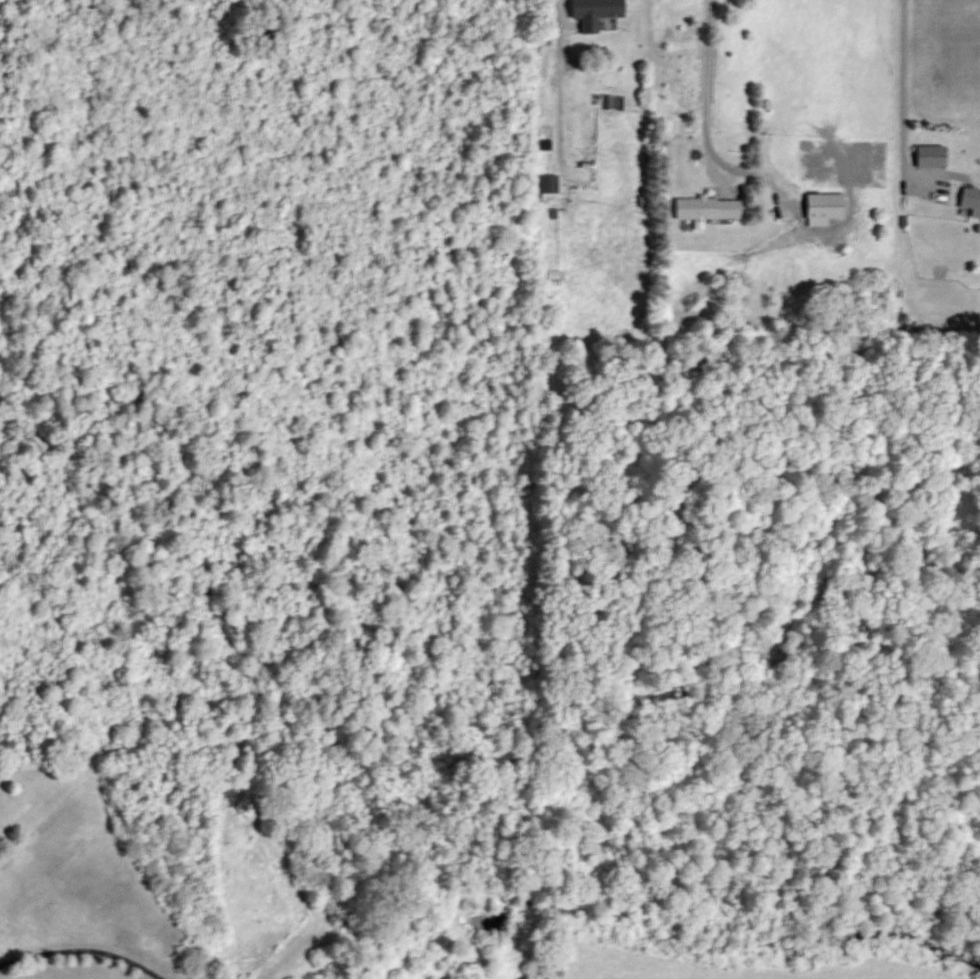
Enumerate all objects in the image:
road: (559, 5)
building: (585, 18)
road: (705, 89)
road: (901, 100)
building: (548, 187)
building: (970, 198)
building: (825, 205)
building: (708, 208)
building: (247, 804)
road: (84, 946)

